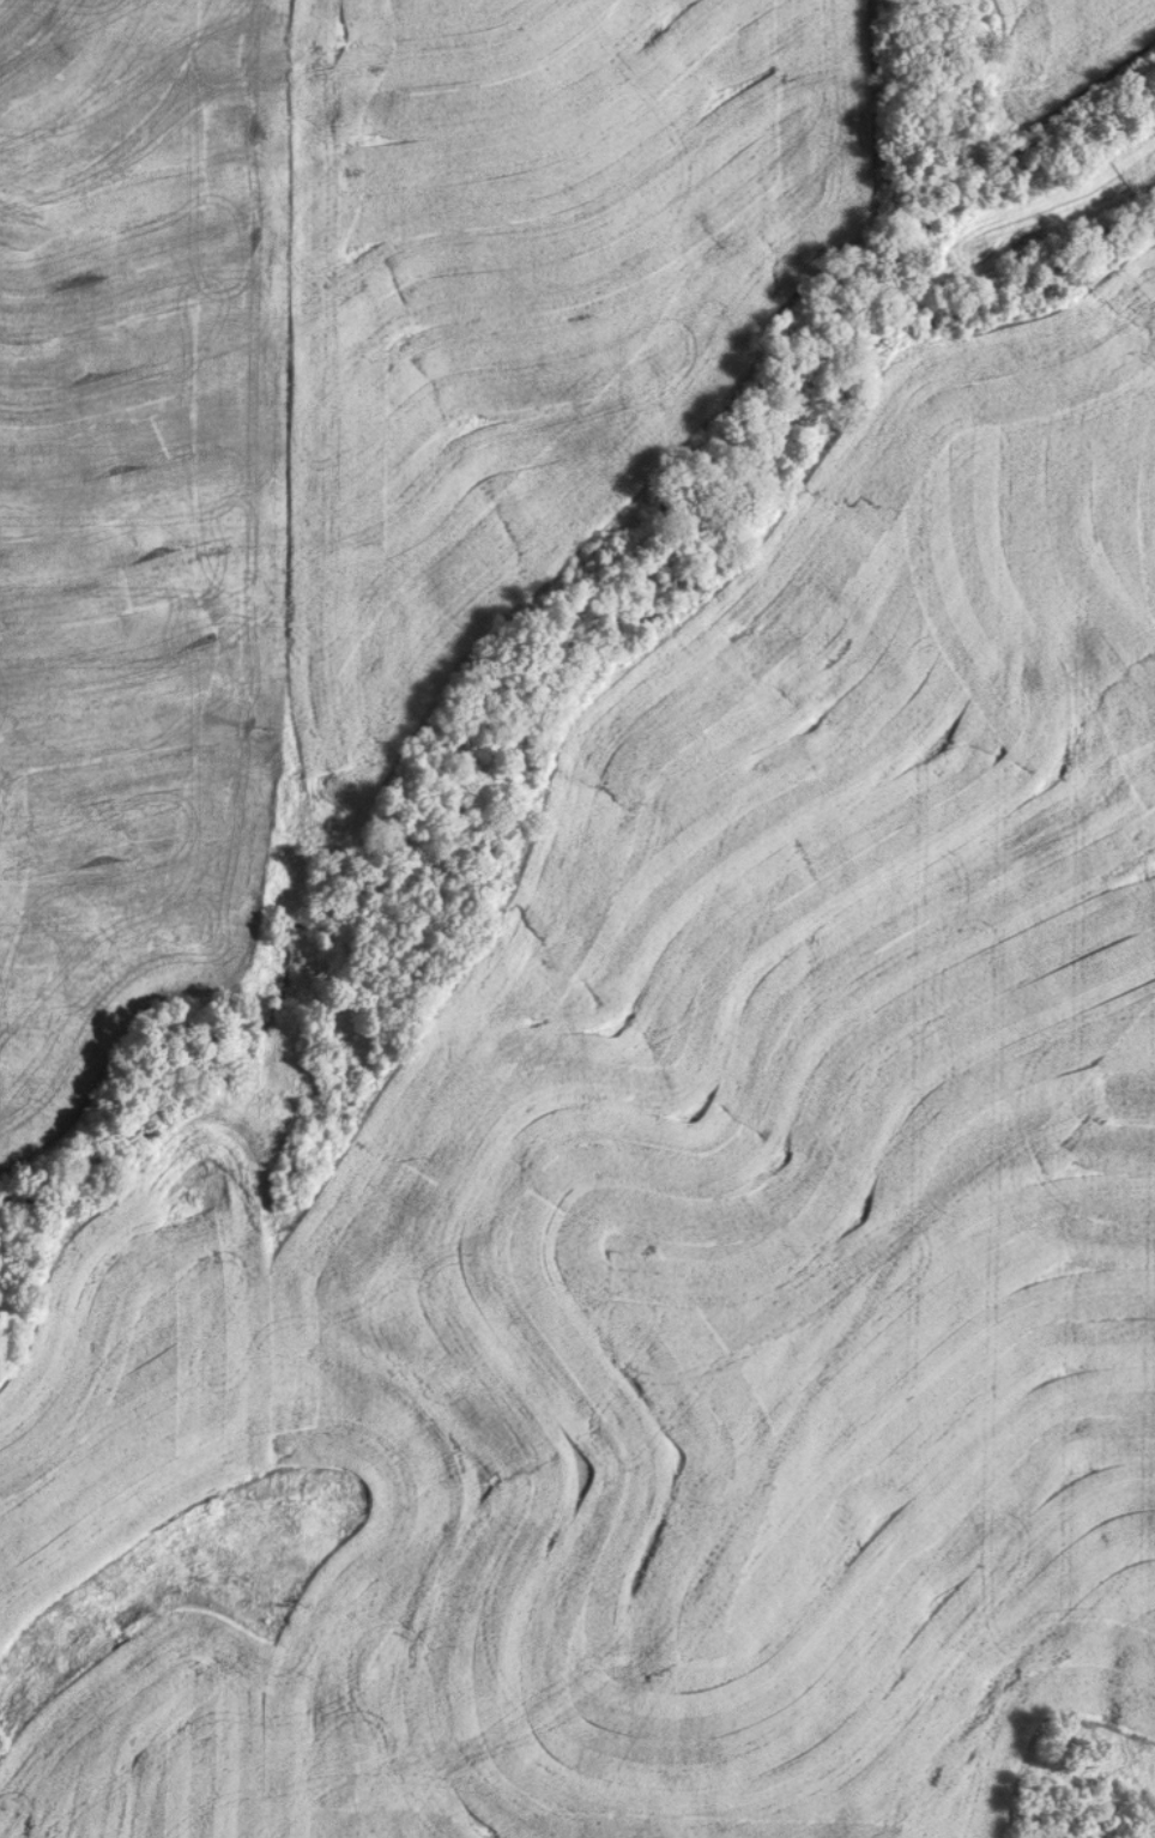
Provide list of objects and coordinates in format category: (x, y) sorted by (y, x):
road: (284, 387)

